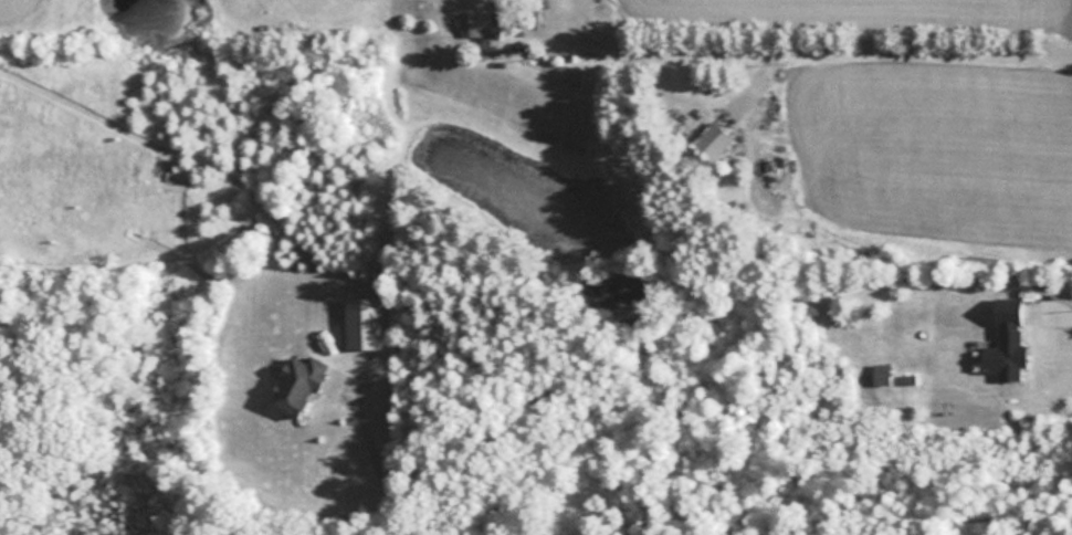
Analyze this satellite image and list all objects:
building: (486, 27)
road: (859, 39)
building: (568, 74)
building: (713, 140)
building: (365, 323)
building: (1009, 355)
building: (298, 386)
road: (371, 457)

